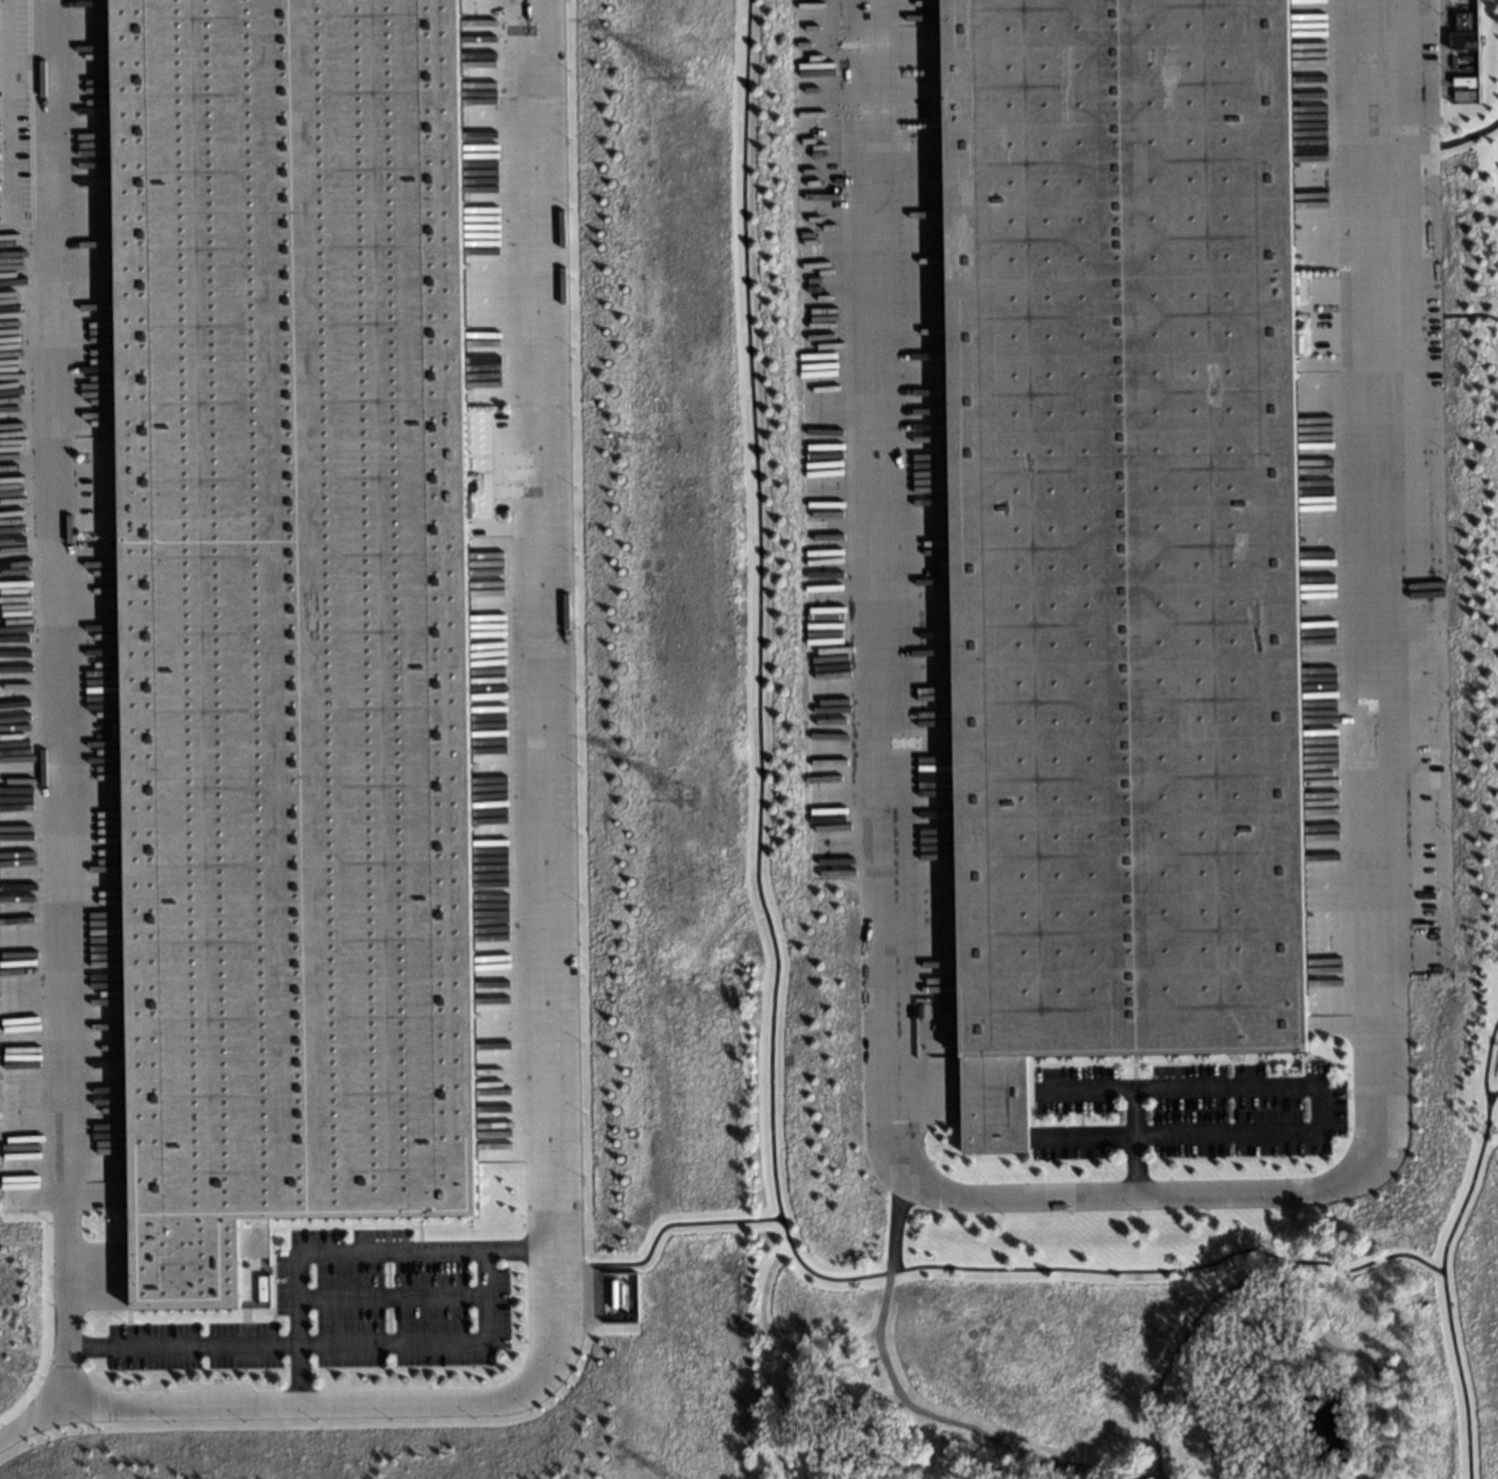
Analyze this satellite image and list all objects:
building: (1462, 52)
power tower: (682, 76)
building: (1117, 536)
building: (288, 623)
power tower: (690, 803)
road: (771, 952)
road: (1481, 1060)
road: (1489, 1097)
road: (1459, 1186)
road: (1134, 1191)
road: (310, 1252)
road: (350, 1343)
road: (1452, 1372)
road: (296, 1402)
road: (34, 1413)

